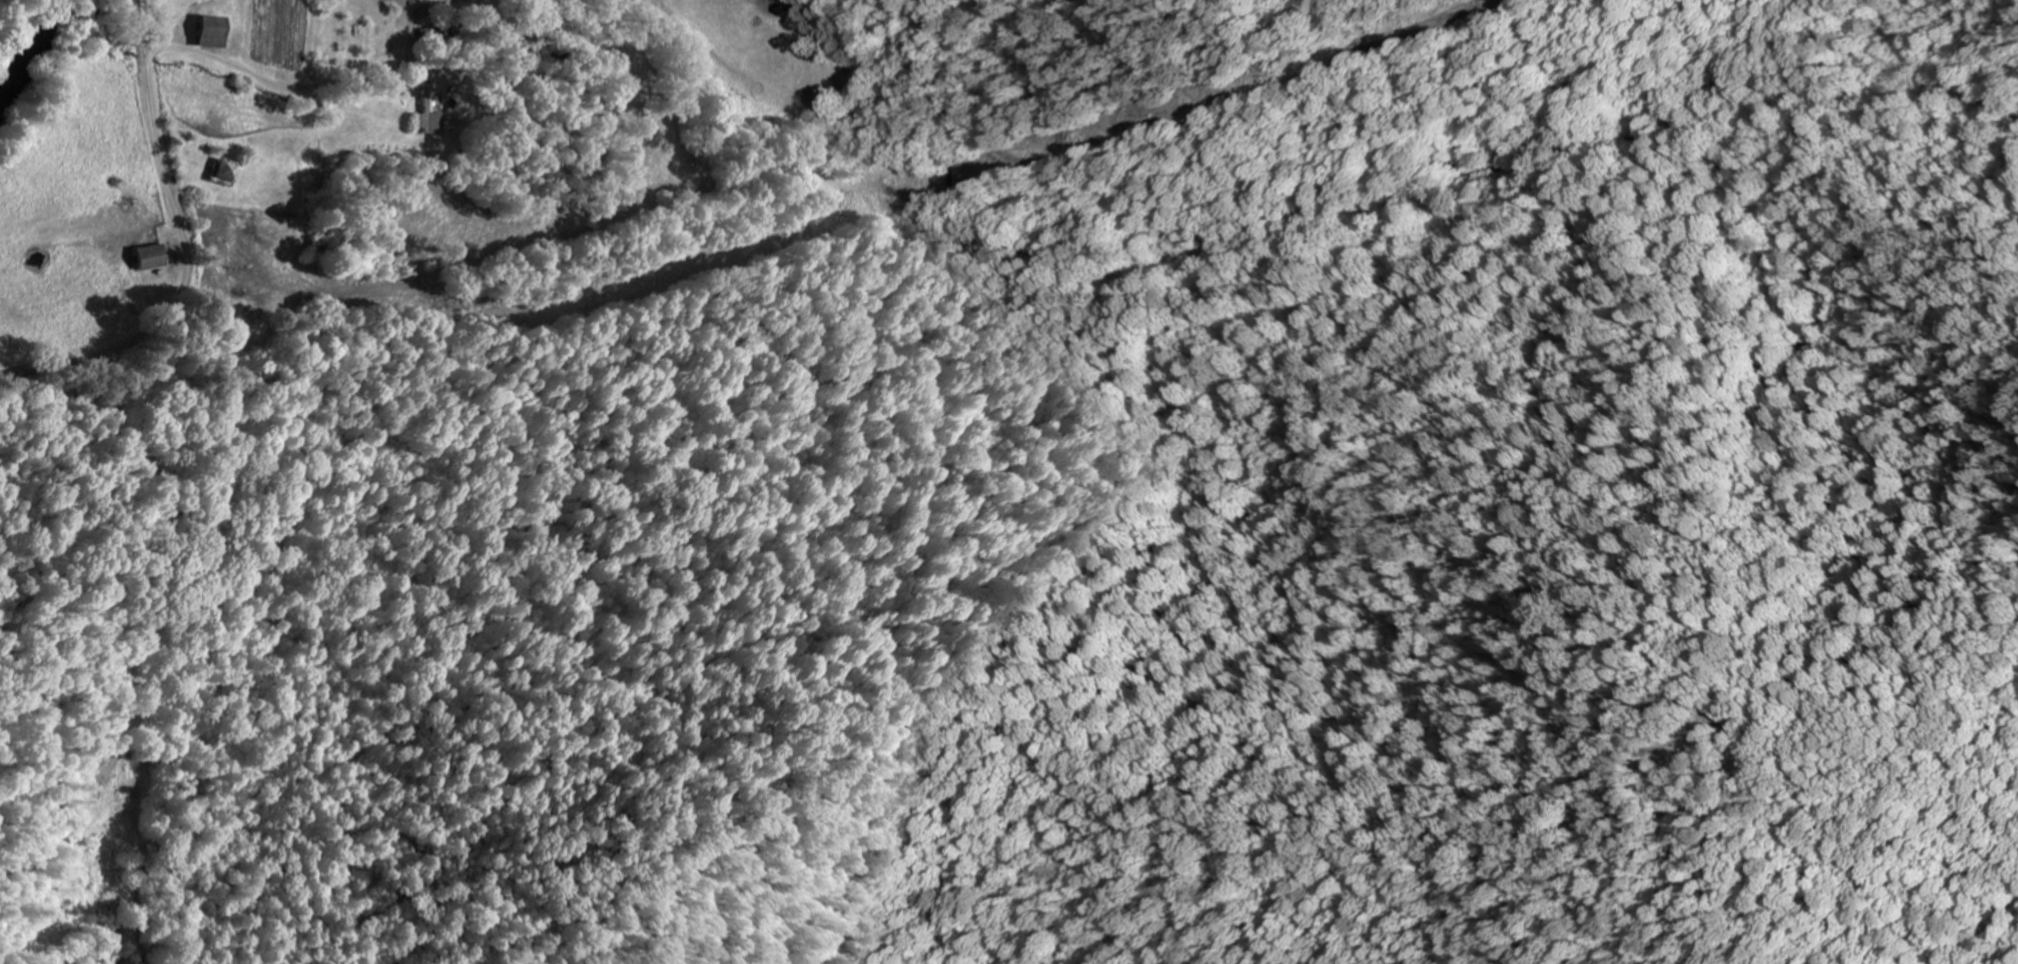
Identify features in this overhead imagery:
building: (207, 31)
river: (30, 50)
building: (427, 110)
building: (220, 171)
road: (183, 247)
building: (145, 255)

